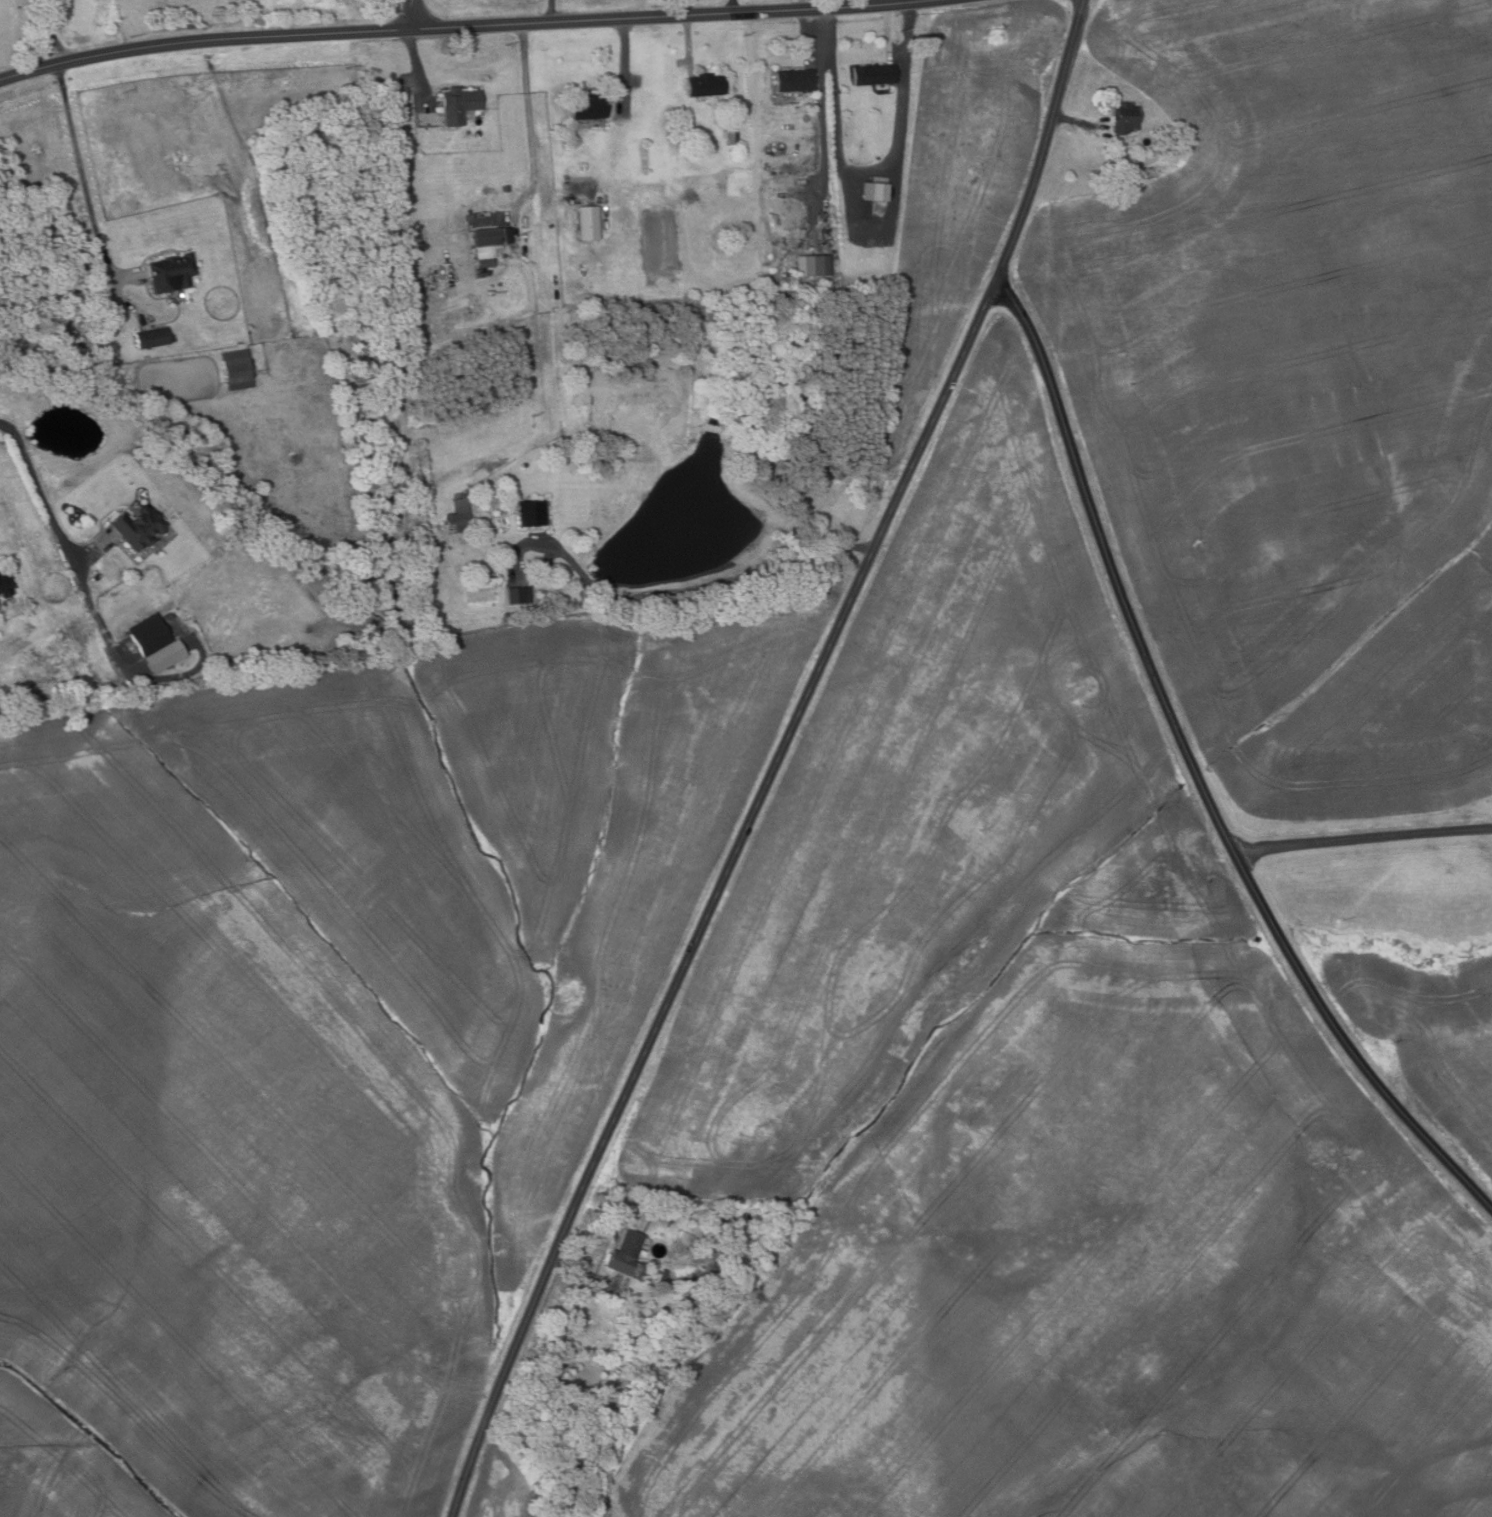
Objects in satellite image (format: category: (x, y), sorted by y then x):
road: (799, 4)
road: (732, 5)
road: (551, 10)
road: (410, 12)
road: (125, 24)
road: (452, 24)
road: (46, 34)
road: (688, 37)
road: (61, 43)
road: (625, 62)
road: (418, 63)
building: (873, 74)
building: (793, 79)
building: (704, 84)
building: (457, 103)
building: (587, 106)
building: (1123, 117)
road: (1077, 120)
building: (733, 139)
road: (81, 167)
road: (870, 170)
building: (879, 191)
building: (587, 222)
building: (485, 236)
road: (870, 242)
building: (486, 262)
building: (812, 264)
building: (171, 271)
building: (152, 337)
building: (237, 370)
crop: (1299, 390)
road: (39, 489)
building: (531, 511)
building: (460, 518)
building: (139, 526)
road: (701, 584)
building: (4, 585)
building: (517, 594)
building: (148, 635)
road: (777, 761)
road: (1196, 770)
road: (1363, 836)
crop: (1410, 974)
crop: (333, 1037)
crop: (1035, 1094)
building: (623, 1252)
road: (585, 1274)
building: (663, 1274)
crop: (503, 1484)

